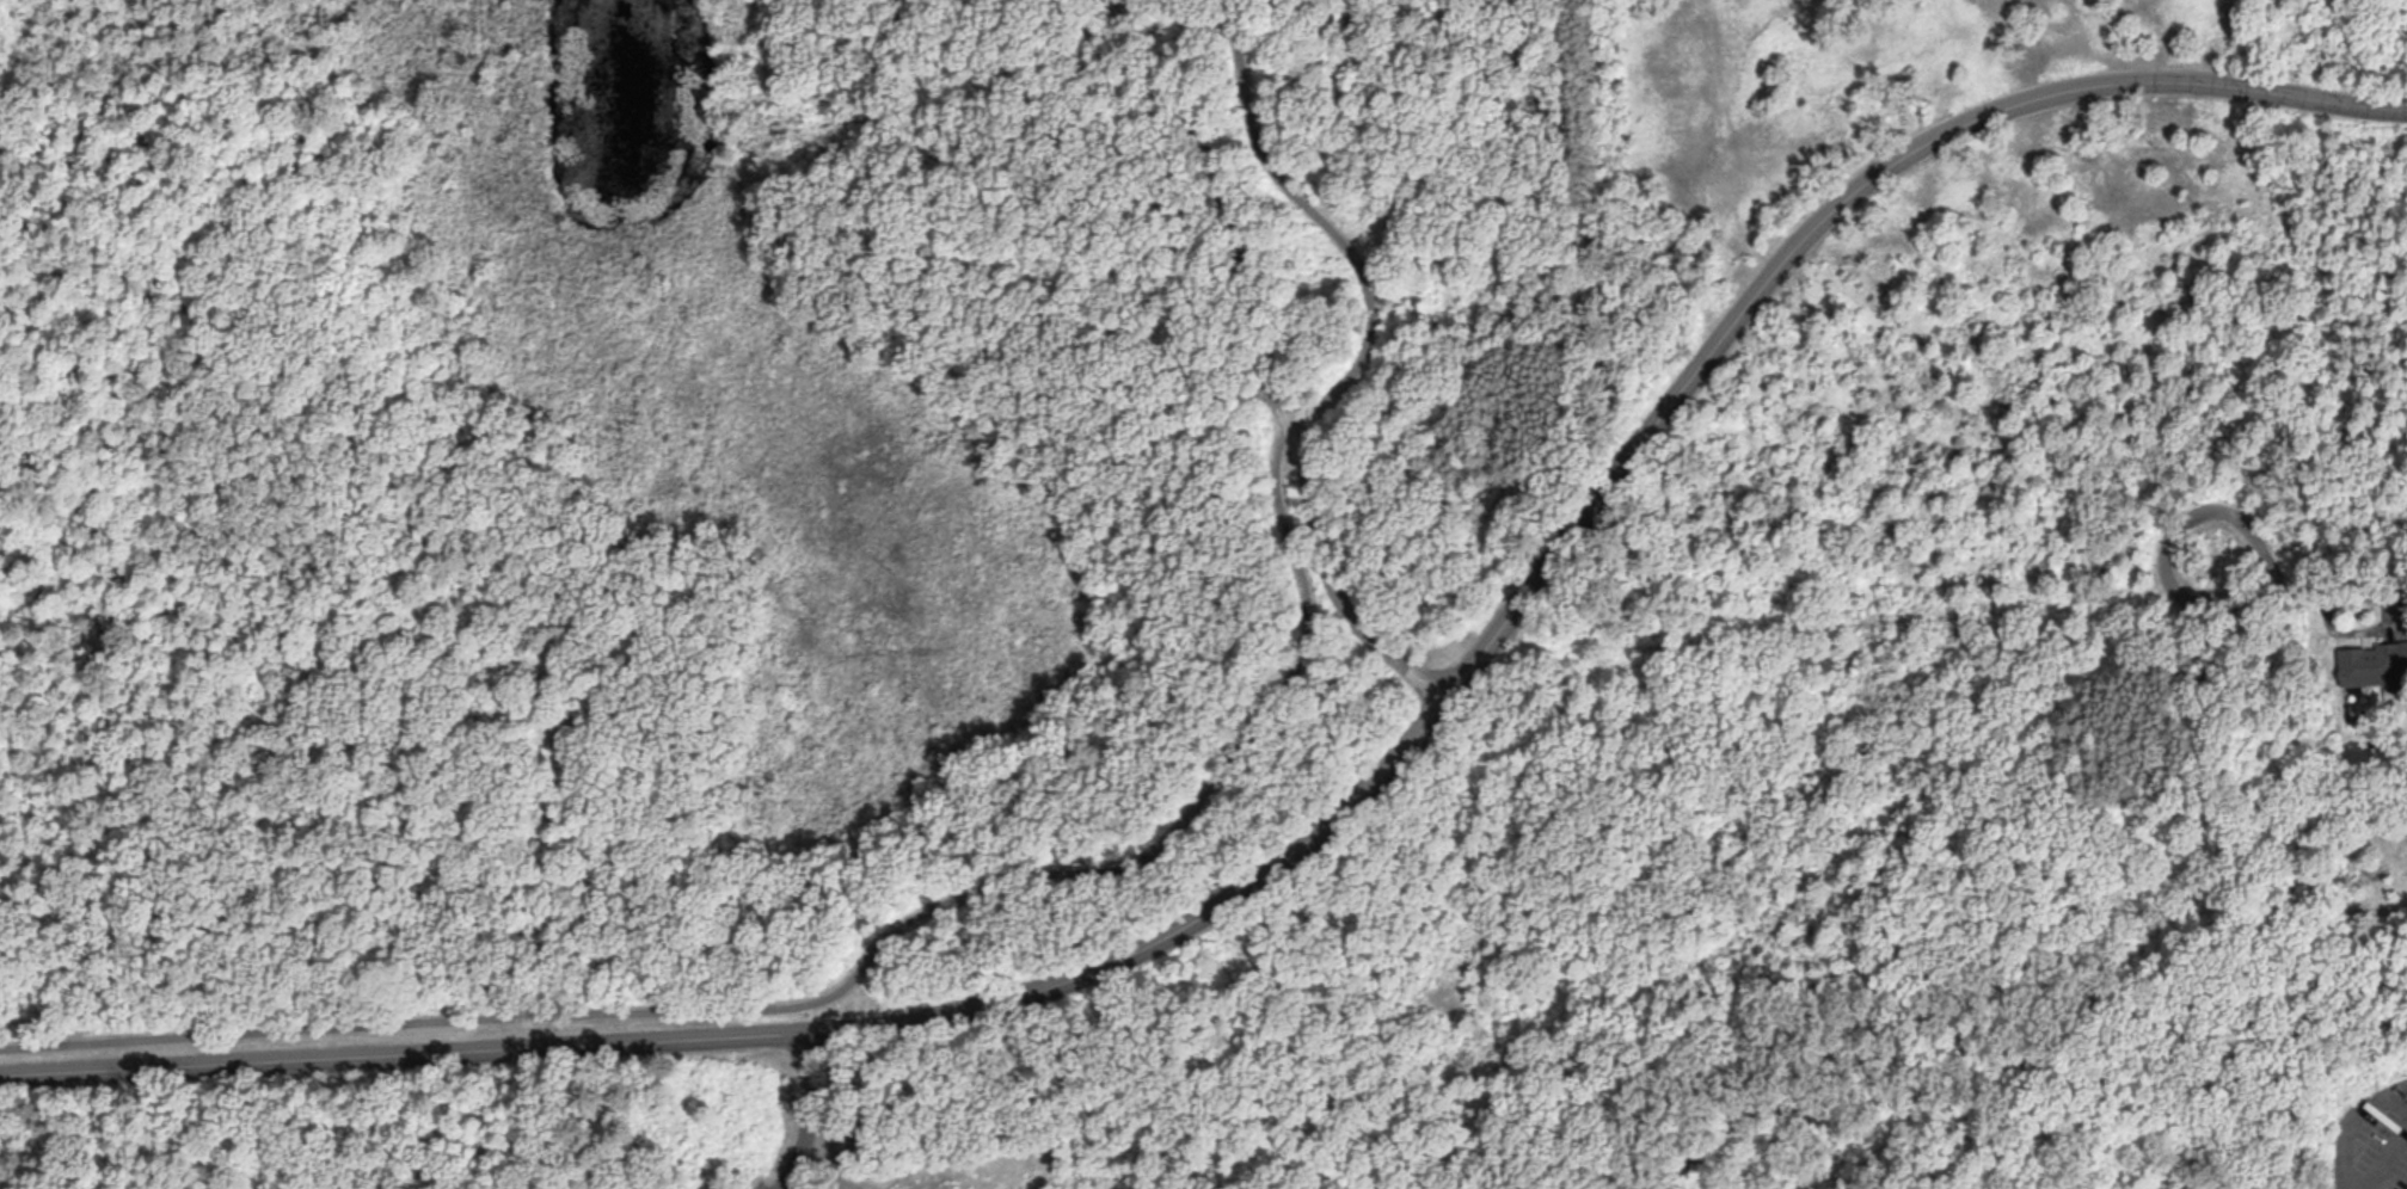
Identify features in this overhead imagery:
parking lot: (1119, 19)
road: (925, 99)
road: (1267, 358)
parking lot: (1264, 388)
road: (1223, 406)
park: (1174, 587)
road: (2333, 593)
road: (2200, 600)
road: (1824, 620)
building: (2371, 663)
road: (1335, 812)
road: (861, 843)
road: (1051, 874)
road: (1107, 1086)
road: (805, 1113)
road: (2350, 1122)
parking lot: (767, 1184)

